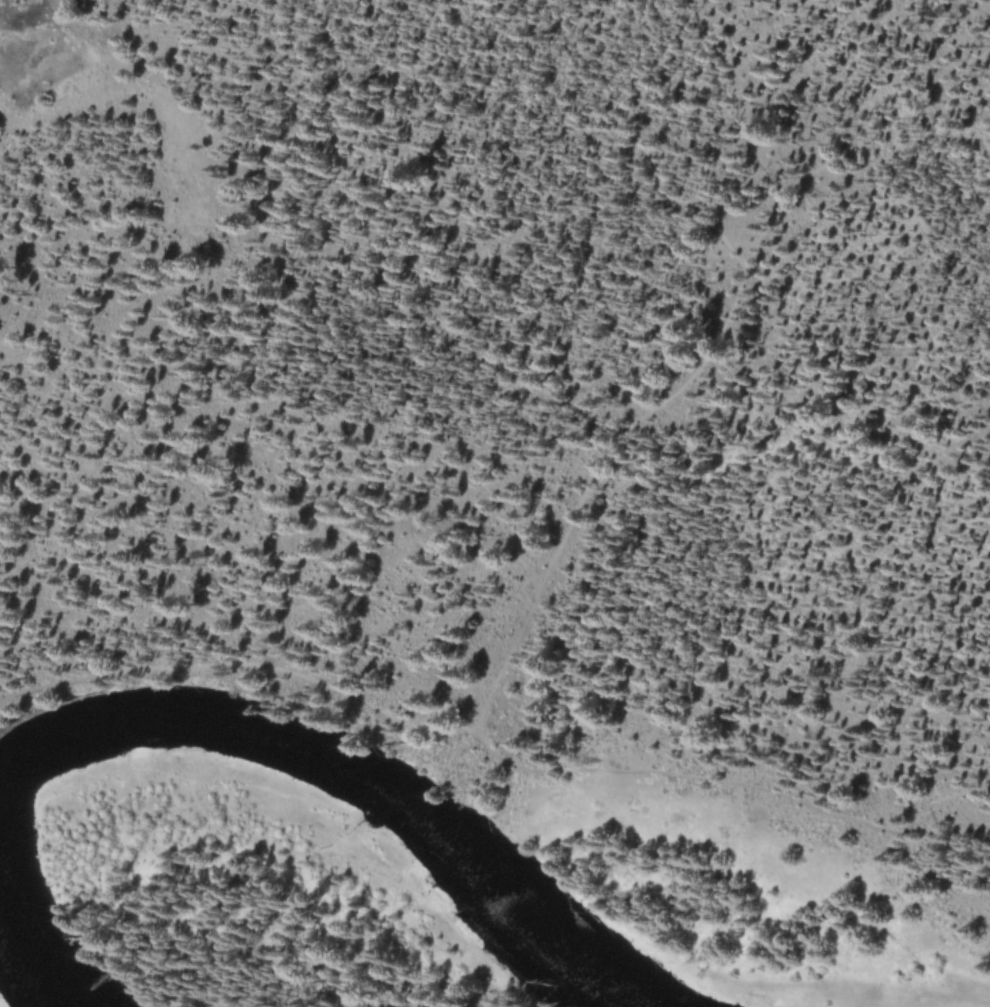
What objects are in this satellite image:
road: (907, 134)
road: (638, 144)
road: (513, 646)
river: (351, 778)
road: (727, 787)
river: (29, 948)
road: (256, 1004)

